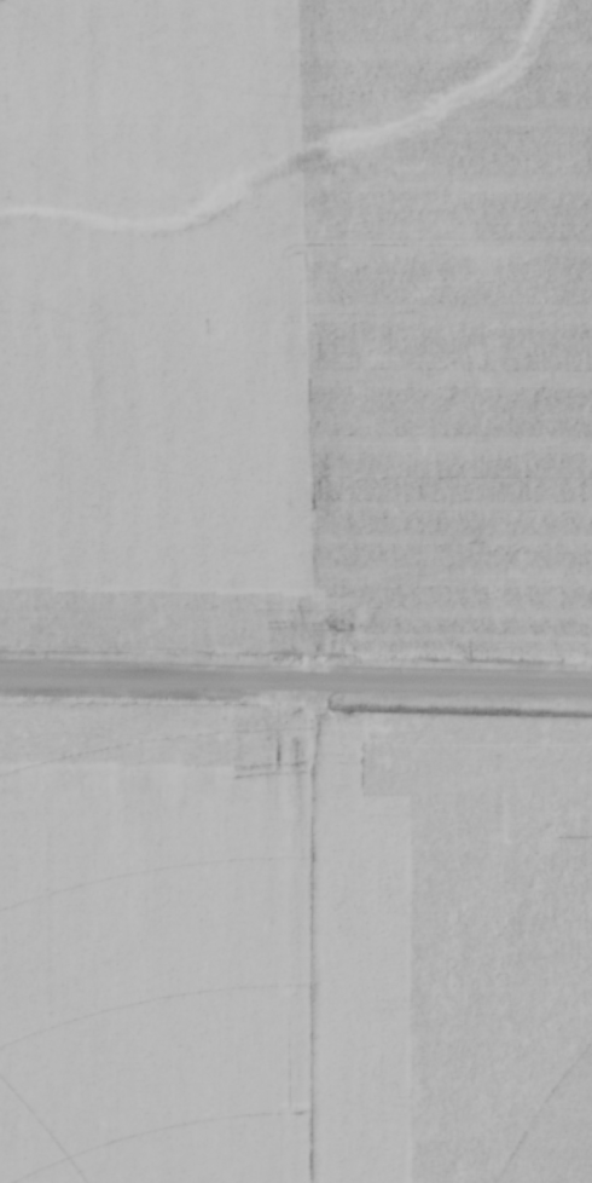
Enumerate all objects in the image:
road: (296, 692)

